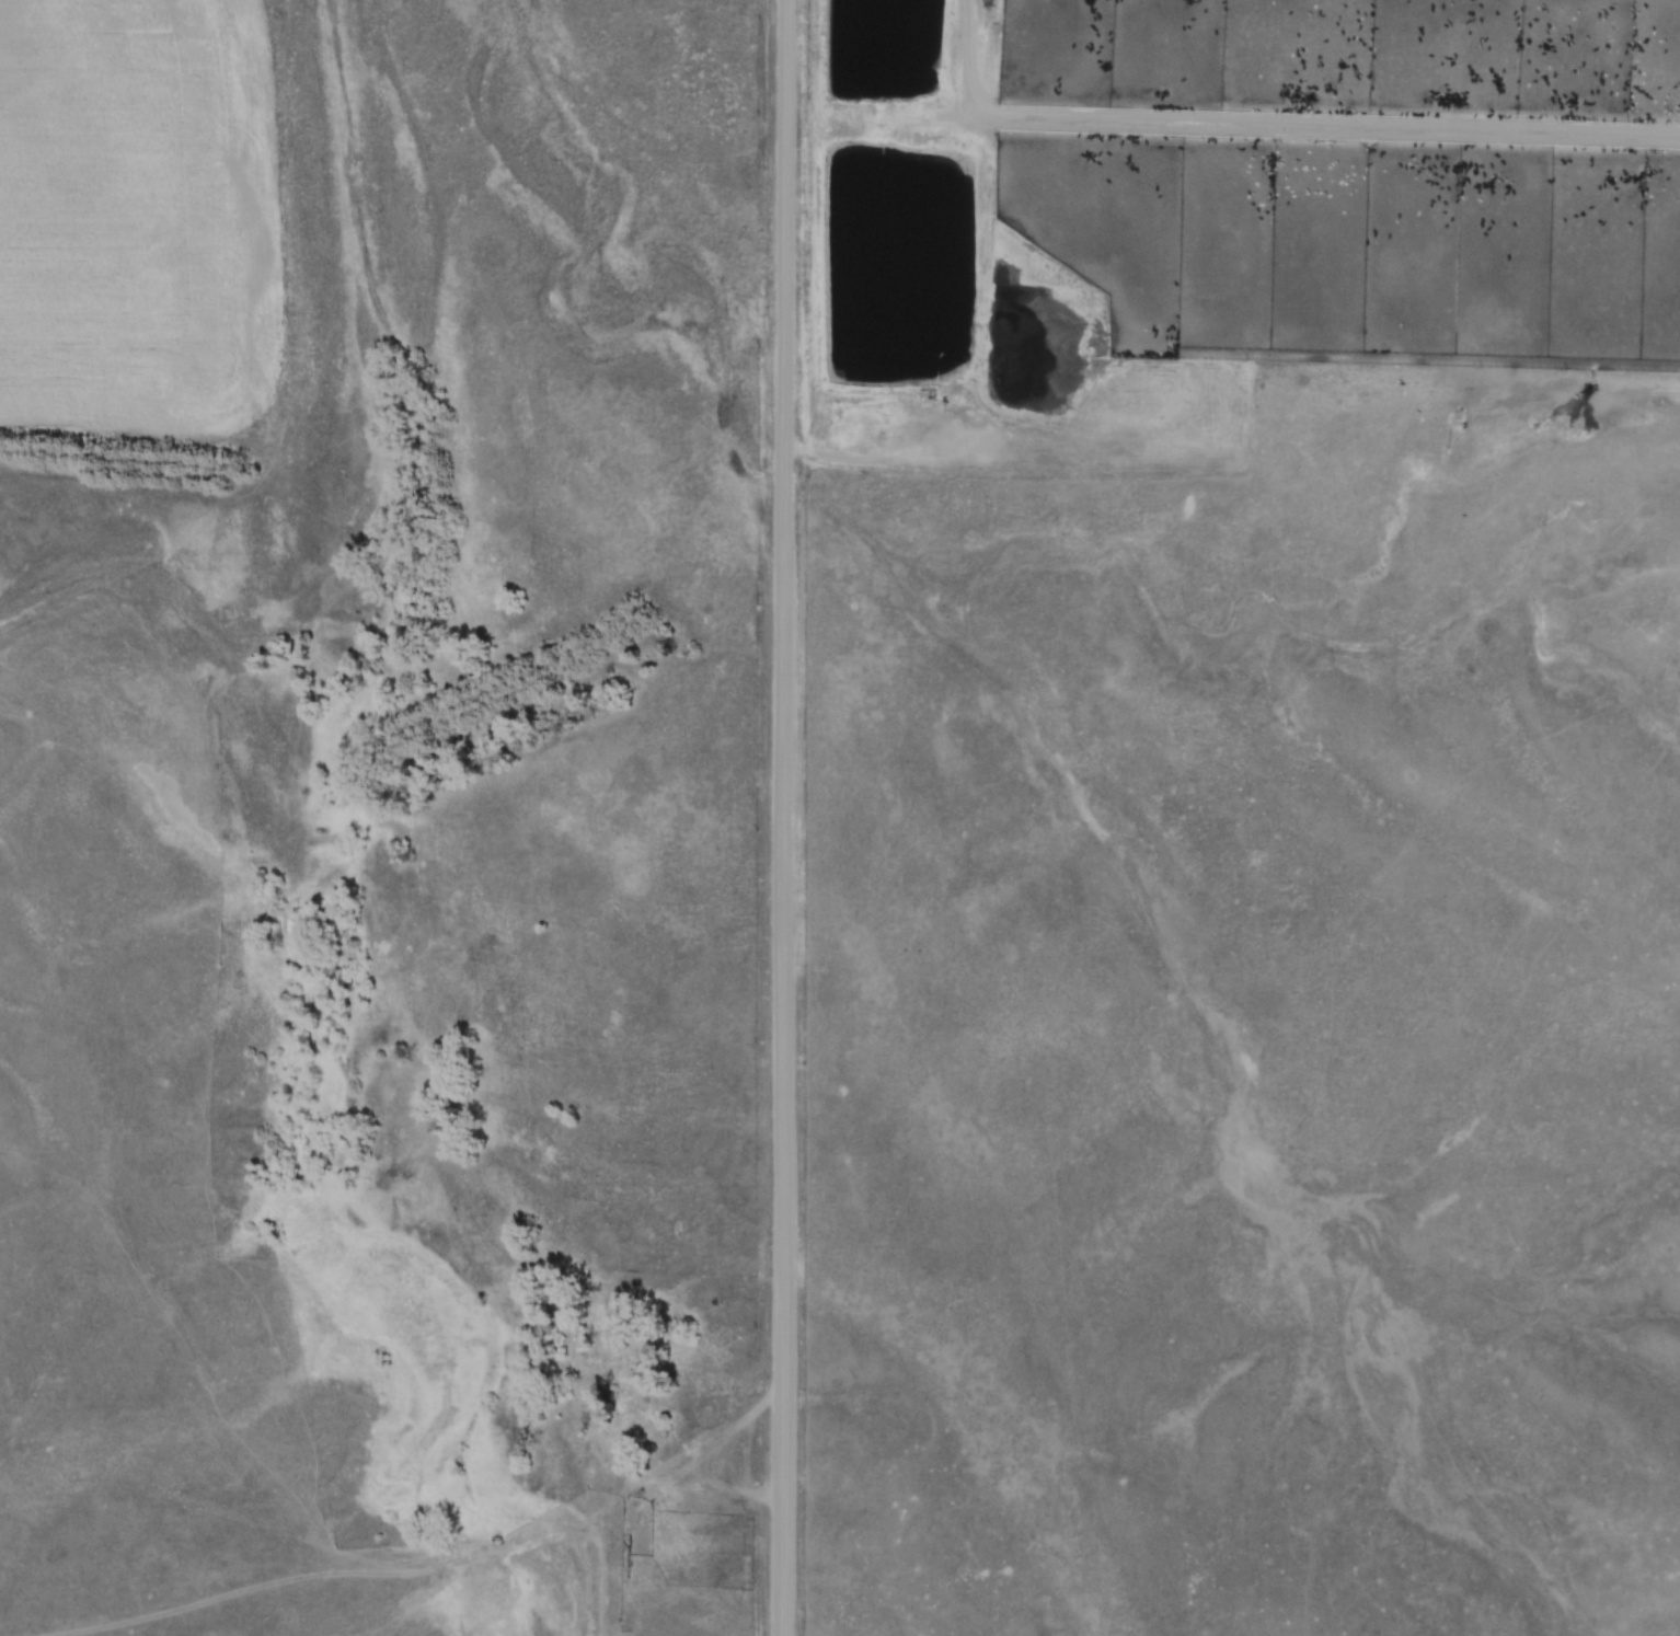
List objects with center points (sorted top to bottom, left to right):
road: (1266, 129)
crop: (139, 218)
road: (783, 818)

